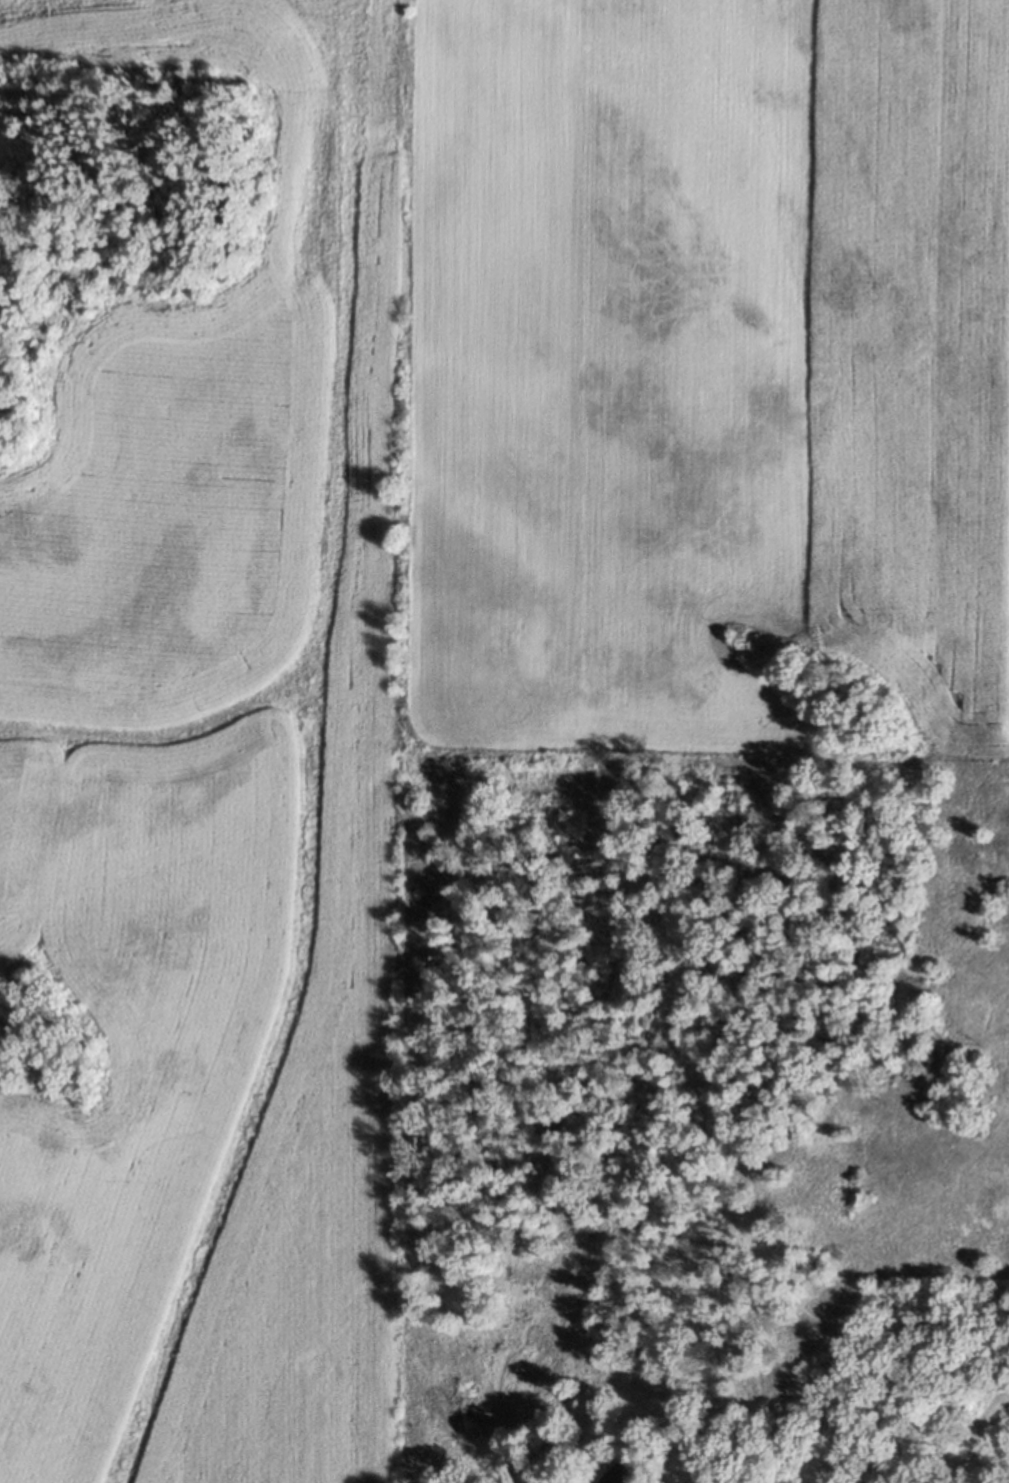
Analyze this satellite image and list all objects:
building: (617, 1473)
building: (529, 1476)

